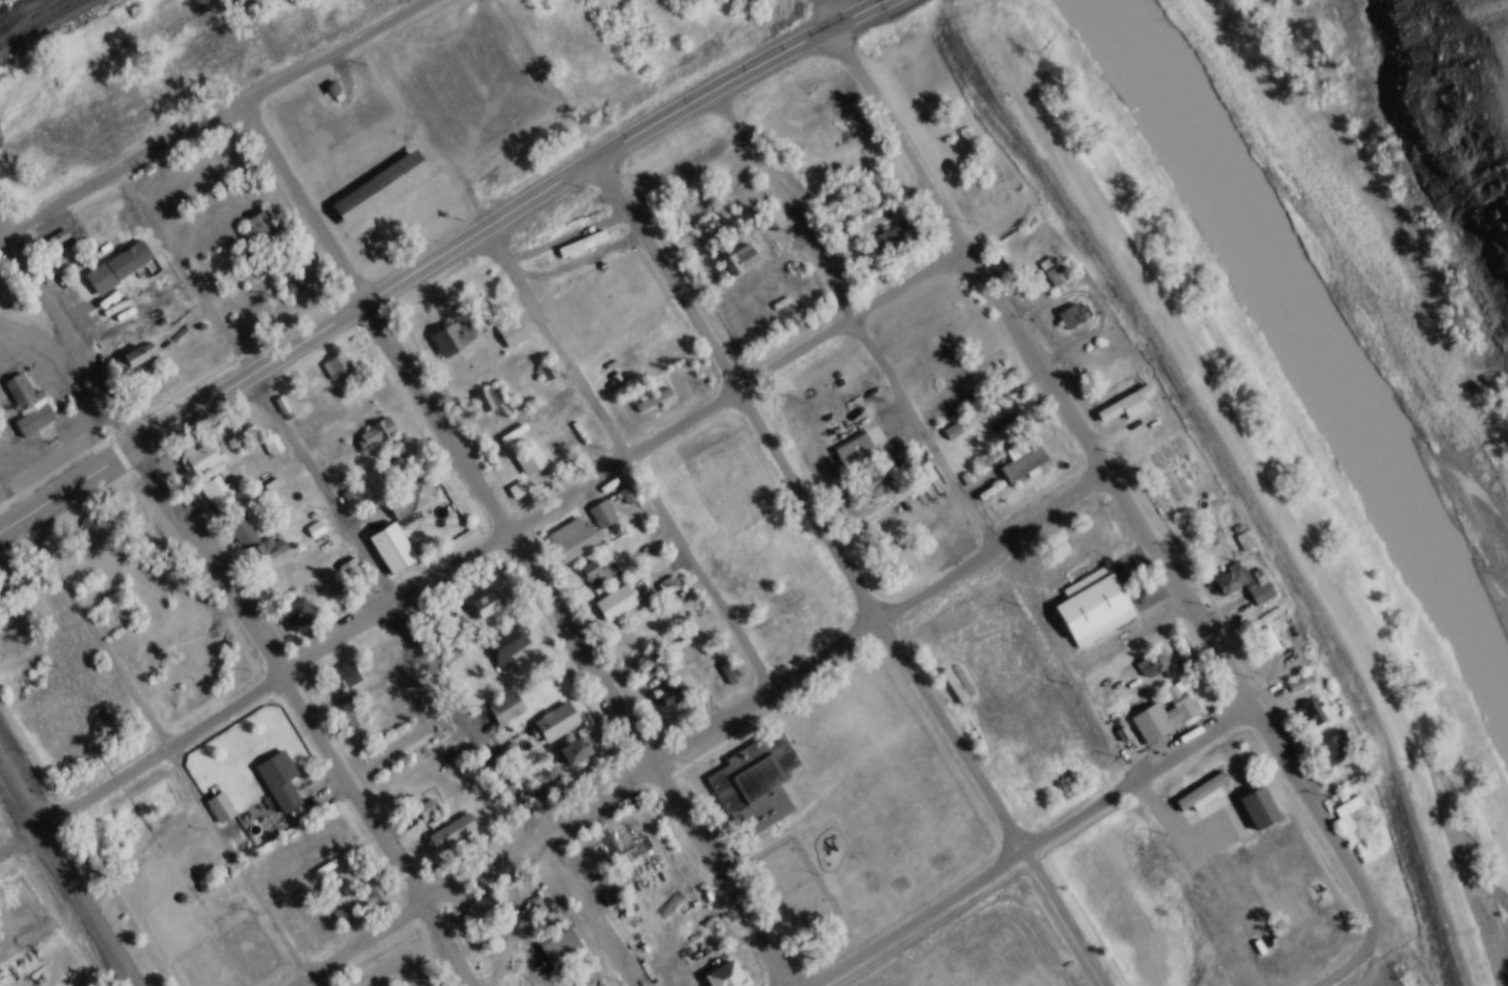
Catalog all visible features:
railway: (43, 23)
building: (327, 75)
road: (214, 117)
building: (372, 174)
building: (380, 190)
building: (717, 195)
building: (764, 207)
building: (726, 209)
building: (824, 213)
building: (251, 214)
building: (699, 214)
building: (773, 221)
building: (888, 222)
building: (52, 224)
building: (260, 227)
building: (709, 228)
building: (57, 239)
building: (892, 239)
building: (994, 239)
building: (728, 247)
building: (855, 248)
building: (111, 254)
building: (789, 255)
road: (434, 257)
building: (1045, 258)
building: (126, 263)
building: (738, 263)
building: (284, 270)
building: (1055, 274)
building: (1065, 302)
building: (1075, 317)
building: (506, 320)
building: (445, 325)
river: (1323, 326)
building: (513, 333)
building: (452, 338)
building: (128, 344)
building: (140, 356)
building: (333, 356)
road: (48, 361)
building: (150, 372)
building: (158, 385)
building: (479, 387)
building: (649, 387)
building: (23, 391)
building: (1118, 393)
building: (278, 395)
building: (492, 398)
building: (654, 400)
building: (1127, 406)
building: (285, 410)
building: (1007, 414)
building: (944, 417)
building: (370, 421)
building: (246, 422)
building: (1, 423)
building: (267, 431)
road: (926, 433)
building: (376, 434)
building: (253, 436)
building: (514, 438)
building: (852, 442)
building: (194, 445)
building: (524, 446)
building: (1013, 449)
road: (1092, 453)
building: (207, 454)
road: (626, 459)
building: (530, 460)
building: (1023, 462)
building: (959, 466)
road: (1238, 474)
building: (512, 477)
building: (211, 479)
building: (622, 482)
building: (403, 486)
building: (611, 489)
building: (218, 496)
building: (411, 499)
building: (597, 501)
building: (603, 514)
building: (309, 516)
building: (565, 525)
building: (1204, 527)
building: (249, 528)
building: (1237, 528)
building: (384, 535)
building: (572, 539)
building: (1246, 541)
road: (515, 544)
road: (481, 548)
building: (346, 559)
building: (587, 562)
building: (1251, 564)
building: (1217, 570)
building: (353, 572)
building: (661, 572)
road: (849, 572)
building: (595, 574)
road: (375, 576)
building: (1247, 585)
building: (668, 586)
building: (479, 590)
building: (609, 590)
building: (1085, 593)
road: (236, 601)
building: (617, 602)
building: (113, 603)
building: (293, 604)
building: (487, 604)
building: (428, 627)
building: (1256, 627)
building: (501, 631)
building: (445, 640)
building: (1266, 642)
building: (653, 646)
building: (506, 647)
building: (1151, 653)
building: (451, 654)
building: (633, 657)
building: (724, 659)
building: (342, 661)
building: (1160, 668)
building: (1289, 670)
building: (662, 682)
building: (1300, 684)
building: (499, 695)
building: (672, 695)
building: (1156, 700)
building: (1301, 701)
building: (349, 702)
building: (549, 709)
building: (507, 710)
building: (1165, 715)
building: (1310, 716)
building: (355, 717)
building: (557, 723)
road: (698, 734)
building: (1325, 734)
building: (568, 737)
building: (502, 738)
building: (1334, 750)
building: (508, 751)
building: (576, 751)
building: (273, 766)
building: (750, 768)
building: (1191, 777)
building: (522, 784)
building: (1202, 792)
building: (214, 794)
building: (1249, 794)
building: (421, 795)
building: (1339, 804)
building: (220, 809)
building: (1259, 809)
building: (427, 810)
building: (445, 819)
building: (1348, 819)
road: (1176, 825)
building: (452, 834)
building: (734, 837)
building: (627, 838)
road: (1030, 842)
building: (219, 863)
silo: (219, 863)
building: (209, 869)
silo: (209, 869)
road: (69, 870)
park: (792, 873)
building: (198, 874)
silo: (198, 874)
building: (787, 874)
building: (369, 878)
building: (178, 886)
silo: (178, 886)
building: (604, 886)
building: (332, 894)
building: (374, 895)
building: (478, 896)
building: (670, 906)
building: (487, 908)
building: (332, 910)
road: (525, 930)
building: (553, 934)
building: (296, 936)
road: (1401, 945)
building: (561, 948)
park: (973, 949)
road: (1359, 953)
building: (718, 968)
building: (333, 980)

